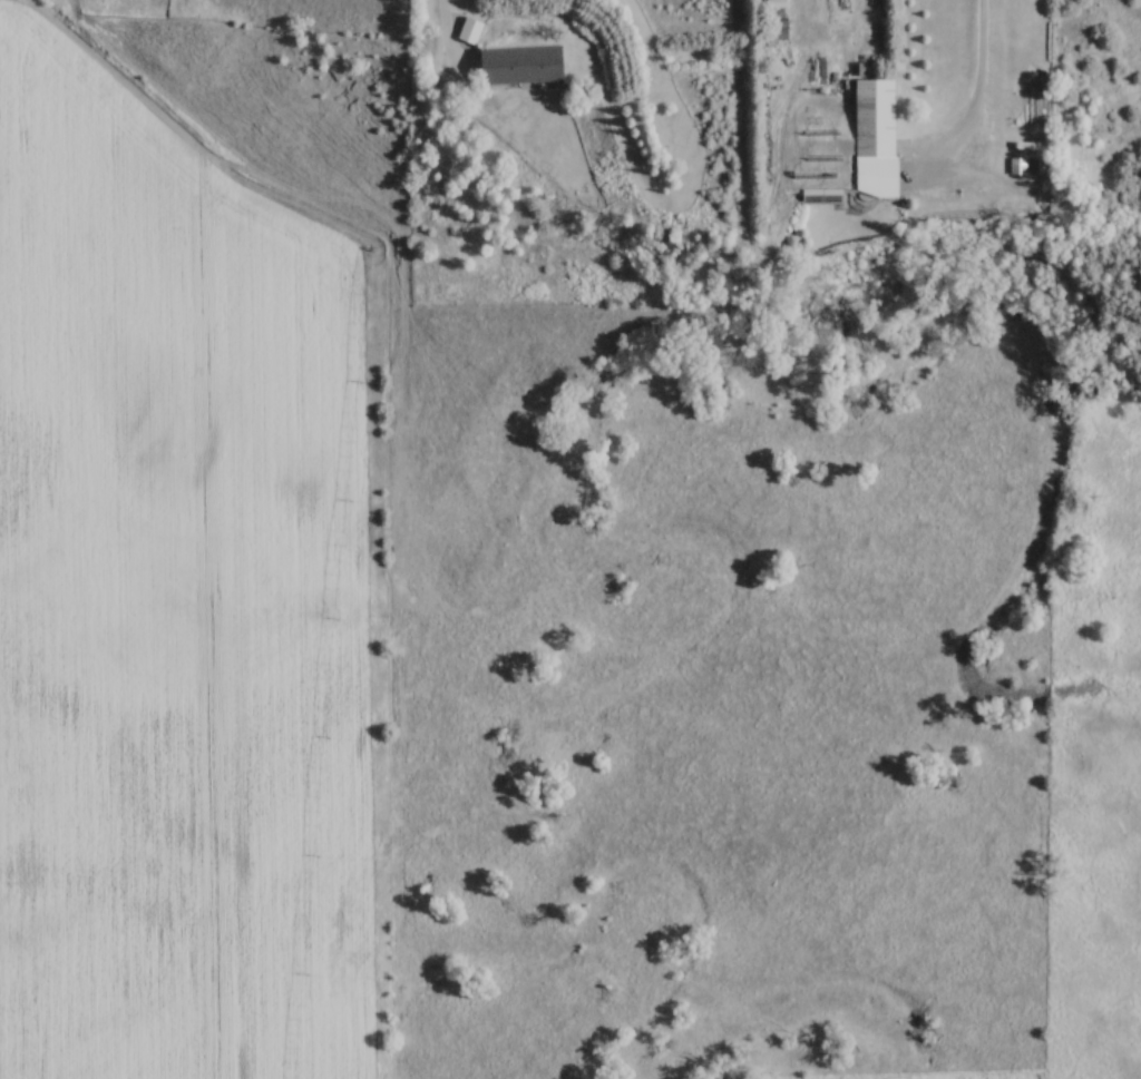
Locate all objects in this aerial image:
road: (447, 30)
building: (472, 31)
road: (977, 61)
building: (523, 62)
building: (877, 136)
building: (1027, 166)

